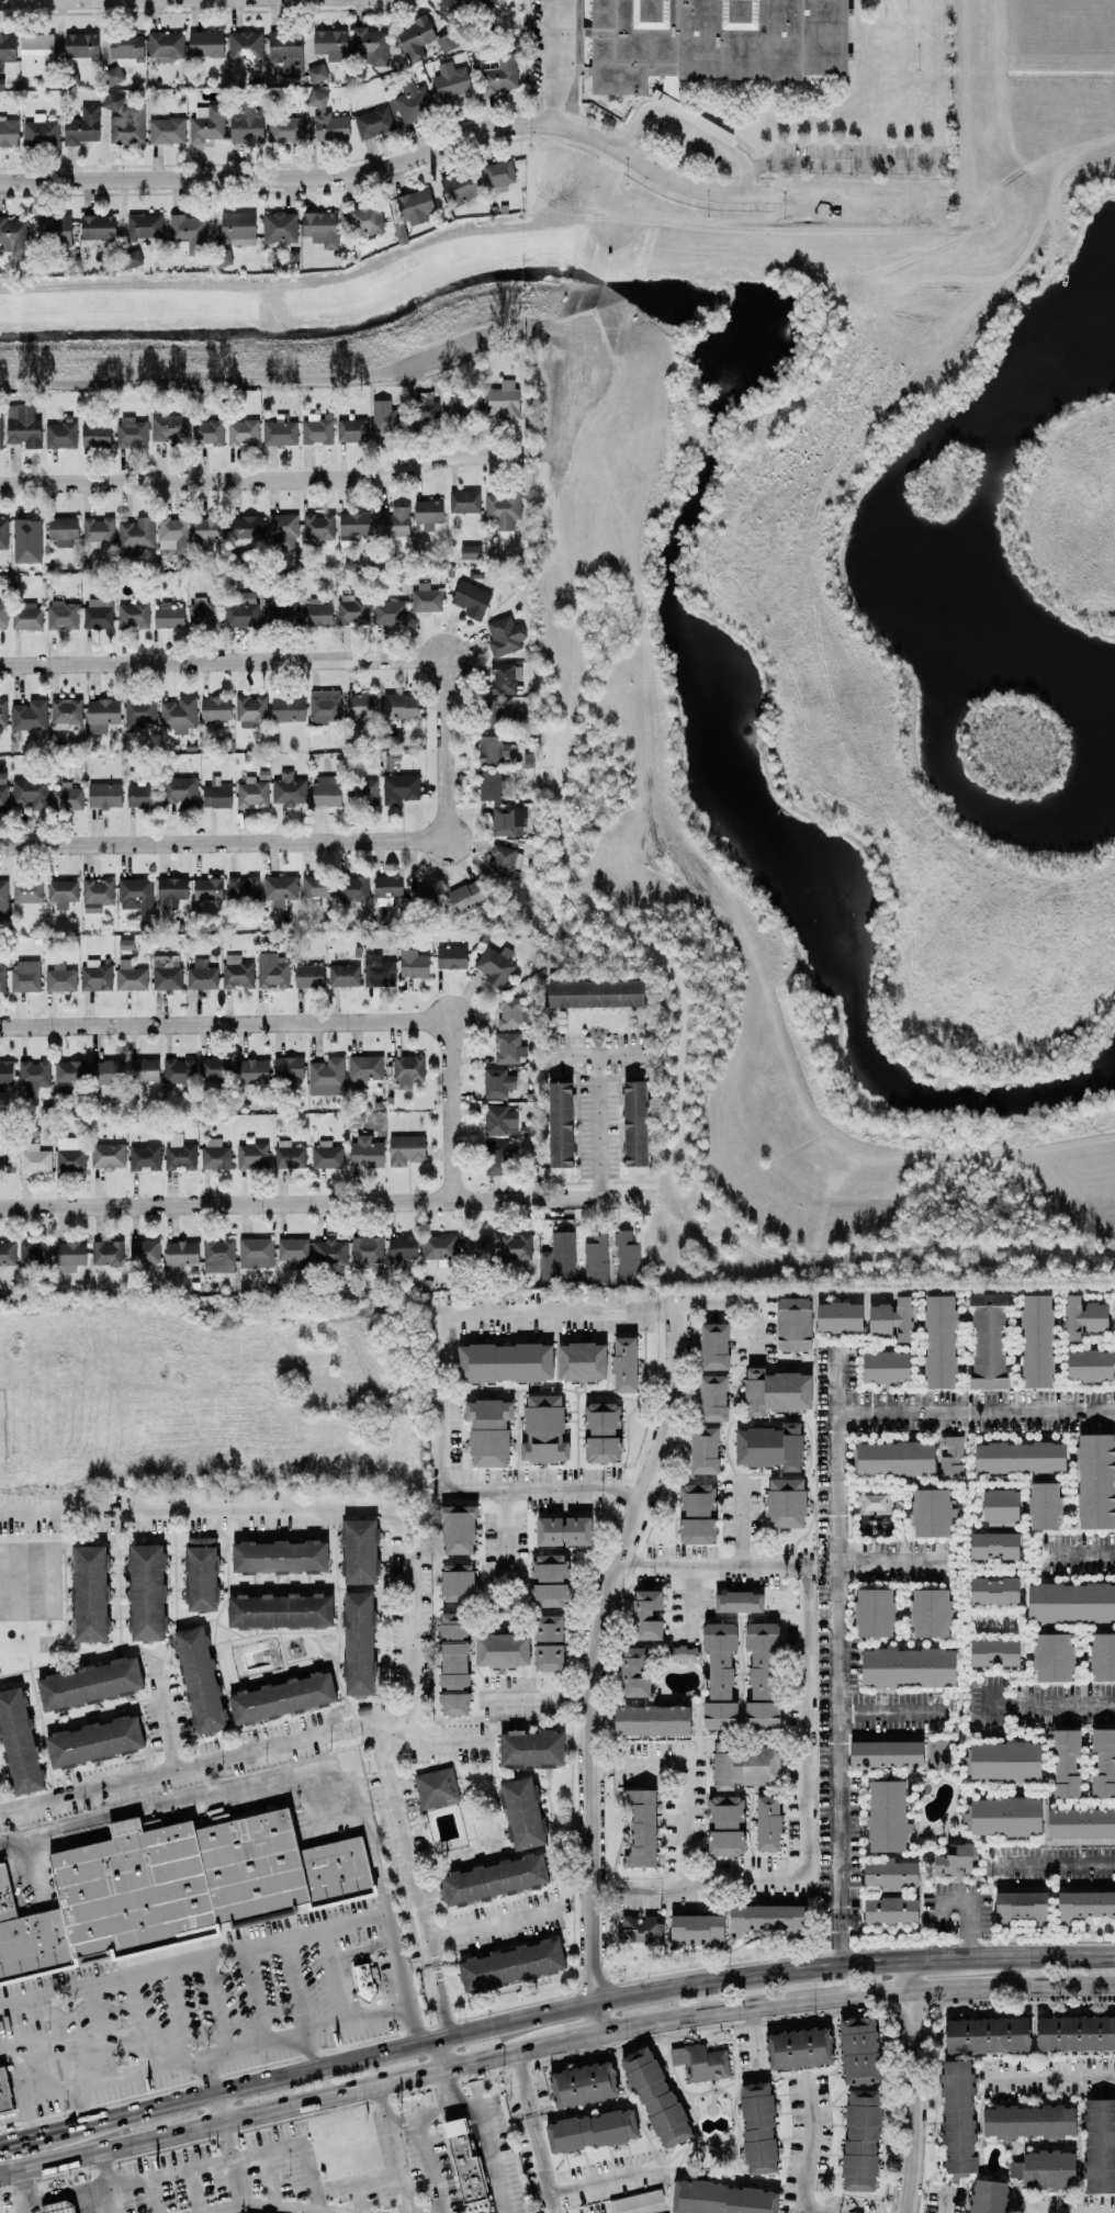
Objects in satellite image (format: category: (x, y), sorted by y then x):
road: (23, 0)
building: (414, 37)
building: (446, 42)
building: (330, 44)
building: (709, 44)
building: (165, 45)
building: (204, 45)
building: (370, 46)
building: (81, 47)
building: (245, 47)
building: (7, 48)
building: (126, 50)
building: (36, 52)
building: (285, 52)
road: (550, 61)
building: (316, 72)
building: (113, 75)
building: (498, 75)
building: (450, 80)
building: (410, 101)
road: (808, 117)
building: (327, 119)
building: (124, 120)
building: (373, 122)
building: (206, 123)
building: (246, 124)
building: (81, 126)
road: (687, 128)
building: (284, 130)
building: (166, 131)
building: (9, 132)
building: (40, 133)
road: (847, 161)
road: (397, 162)
building: (498, 173)
building: (459, 187)
building: (415, 206)
building: (364, 218)
building: (144, 226)
building: (97, 227)
building: (279, 227)
building: (54, 228)
building: (237, 228)
building: (320, 228)
building: (188, 234)
building: (13, 236)
building: (502, 400)
building: (457, 405)
building: (424, 407)
building: (386, 416)
building: (22, 425)
building: (316, 427)
building: (169, 429)
building: (350, 429)
building: (131, 431)
building: (206, 431)
building: (280, 431)
building: (241, 433)
building: (0, 435)
building: (60, 435)
building: (95, 436)
road: (266, 480)
building: (463, 501)
building: (503, 510)
building: (427, 513)
building: (392, 521)
building: (351, 527)
building: (317, 528)
building: (98, 529)
building: (210, 529)
building: (61, 530)
building: (247, 530)
building: (282, 531)
building: (3, 533)
building: (172, 535)
building: (135, 536)
building: (26, 540)
building: (469, 552)
building: (425, 599)
building: (470, 599)
building: (240, 609)
building: (351, 609)
building: (98, 613)
building: (278, 613)
building: (315, 613)
building: (388, 613)
building: (2, 614)
building: (132, 614)
building: (203, 615)
building: (26, 616)
building: (61, 616)
building: (168, 616)
building: (503, 636)
road: (254, 662)
building: (502, 677)
building: (398, 706)
building: (324, 707)
building: (215, 708)
building: (286, 708)
building: (250, 710)
building: (358, 710)
building: (138, 711)
building: (494, 711)
building: (2, 712)
building: (65, 712)
building: (29, 715)
building: (101, 715)
building: (178, 715)
building: (492, 750)
building: (487, 785)
building: (399, 788)
building: (288, 789)
building: (325, 789)
building: (2, 790)
building: (178, 790)
building: (361, 791)
building: (30, 793)
building: (251, 793)
building: (215, 794)
building: (103, 795)
building: (140, 796)
building: (66, 797)
building: (507, 820)
road: (282, 843)
building: (316, 886)
building: (279, 887)
building: (241, 888)
building: (386, 888)
building: (26, 890)
building: (351, 890)
building: (61, 891)
building: (171, 891)
building: (207, 892)
building: (97, 894)
building: (135, 894)
building: (465, 896)
building: (423, 897)
building: (3, 898)
building: (450, 957)
building: (412, 963)
building: (494, 965)
building: (271, 970)
building: (379, 970)
building: (236, 971)
building: (200, 974)
building: (95, 975)
building: (307, 975)
building: (342, 975)
building: (2, 976)
building: (25, 976)
building: (129, 976)
building: (59, 978)
building: (166, 978)
building: (595, 993)
building: (508, 1012)
road: (316, 1021)
road: (600, 1043)
building: (507, 1048)
building: (288, 1068)
building: (143, 1069)
building: (214, 1069)
building: (363, 1069)
building: (407, 1069)
building: (68, 1070)
building: (178, 1071)
building: (250, 1071)
building: (105, 1072)
building: (5, 1074)
building: (33, 1075)
building: (326, 1077)
building: (496, 1082)
building: (499, 1120)
road: (602, 1121)
building: (635, 1123)
building: (560, 1124)
building: (4, 1148)
building: (405, 1149)
building: (365, 1150)
building: (69, 1154)
building: (179, 1154)
building: (214, 1154)
building: (289, 1155)
building: (106, 1156)
building: (251, 1156)
building: (144, 1157)
building: (326, 1157)
building: (494, 1157)
building: (34, 1158)
road: (325, 1202)
building: (438, 1247)
building: (475, 1247)
building: (515, 1247)
building: (255, 1248)
building: (292, 1248)
building: (144, 1250)
building: (401, 1250)
building: (365, 1251)
building: (180, 1252)
building: (328, 1252)
building: (7, 1254)
building: (106, 1254)
building: (34, 1255)
building: (217, 1255)
building: (69, 1256)
building: (626, 1256)
building: (597, 1260)
building: (559, 1261)
road: (741, 1306)
road: (437, 1314)
building: (1113, 1315)
building: (838, 1316)
building: (1084, 1317)
building: (891, 1318)
building: (793, 1324)
building: (987, 1340)
building: (1036, 1340)
building: (938, 1341)
building: (713, 1346)
building: (581, 1361)
building: (504, 1362)
building: (623, 1363)
building: (1089, 1364)
building: (886, 1367)
building: (776, 1391)
building: (712, 1397)
road: (975, 1413)
building: (488, 1430)
building: (543, 1430)
building: (600, 1433)
building: (770, 1446)
building: (703, 1450)
building: (950, 1456)
building: (1020, 1457)
building: (894, 1458)
building: (1095, 1481)
road: (530, 1490)
building: (786, 1503)
building: (1000, 1505)
building: (1043, 1505)
building: (697, 1514)
road: (741, 1525)
building: (458, 1529)
building: (563, 1530)
building: (993, 1544)
building: (359, 1551)
road: (1079, 1551)
building: (279, 1557)
road: (890, 1558)
building: (201, 1574)
road: (409, 1577)
building: (550, 1580)
building: (457, 1582)
building: (993, 1591)
building: (146, 1592)
building: (89, 1593)
road: (690, 1599)
building: (737, 1602)
building: (1070, 1602)
building: (279, 1611)
building: (872, 1613)
building: (930, 1613)
building: (645, 1615)
road: (803, 1627)
building: (358, 1642)
building: (548, 1642)
building: (502, 1650)
building: (993, 1652)
building: (684, 1654)
road: (834, 1654)
building: (1052, 1656)
building: (1102, 1656)
road: (594, 1660)
building: (453, 1663)
building: (908, 1666)
building: (634, 1671)
building: (762, 1674)
building: (719, 1675)
building: (199, 1680)
building: (89, 1684)
road: (537, 1696)
building: (282, 1698)
road: (1045, 1704)
road: (890, 1710)
building: (652, 1719)
road: (168, 1725)
building: (18, 1742)
building: (93, 1742)
building: (530, 1749)
building: (886, 1750)
road: (243, 1751)
building: (936, 1754)
building: (1005, 1760)
building: (1103, 1762)
building: (1066, 1763)
building: (744, 1765)
road: (308, 1766)
road: (684, 1775)
building: (436, 1788)
building: (521, 1812)
building: (887, 1816)
building: (1005, 1816)
building: (767, 1822)
building: (1080, 1822)
building: (725, 1826)
building: (641, 1827)
building: (953, 1858)
road: (1052, 1862)
road: (29, 1872)
building: (890, 1873)
building: (494, 1879)
road: (697, 1881)
building: (172, 1888)
building: (1021, 1905)
building: (1084, 1905)
building: (890, 1909)
road: (970, 1913)
building: (766, 1918)
road: (492, 1925)
building: (639, 1929)
building: (696, 1930)
road: (193, 1958)
road: (346, 1962)
building: (510, 1965)
road: (331, 1975)
building: (364, 1980)
road: (294, 1984)
road: (254, 1993)
road: (855, 1995)
road: (215, 2002)
road: (575, 2007)
road: (176, 2012)
road: (138, 2021)
road: (97, 2032)
building: (1075, 2033)
road: (750, 2034)
building: (987, 2034)
road: (573, 2036)
road: (30, 2044)
building: (799, 2048)
road: (311, 2049)
road: (216, 2051)
building: (858, 2051)
road: (439, 2055)
road: (67, 2059)
building: (700, 2062)
road: (207, 2074)
road: (1048, 2076)
building: (583, 2085)
road: (912, 2087)
road: (448, 2088)
building: (4, 2092)
road: (22, 2092)
building: (655, 2097)
road: (218, 2108)
road: (273, 2110)
road: (430, 2111)
building: (958, 2116)
building: (1029, 2121)
building: (757, 2127)
building: (590, 2130)
road: (536, 2132)
road: (23, 2139)
building: (860, 2139)
road: (809, 2143)
building: (1099, 2146)
road: (391, 2149)
road: (491, 2157)
building: (464, 2160)
road: (233, 2163)
road: (428, 2164)
road: (204, 2165)
building: (1048, 2168)
road: (309, 2176)
road: (269, 2178)
road: (606, 2179)
road: (106, 2182)
road: (356, 2182)
road: (24, 2186)
road: (195, 2191)
road: (60, 2193)
road: (153, 2197)
building: (989, 2197)
road: (358, 2198)
building: (723, 2198)
road: (946, 2199)
building: (635, 2201)
road: (268, 2204)
building: (57, 2208)
road: (819, 2210)
road: (655, 2211)
road: (1067, 2212)

